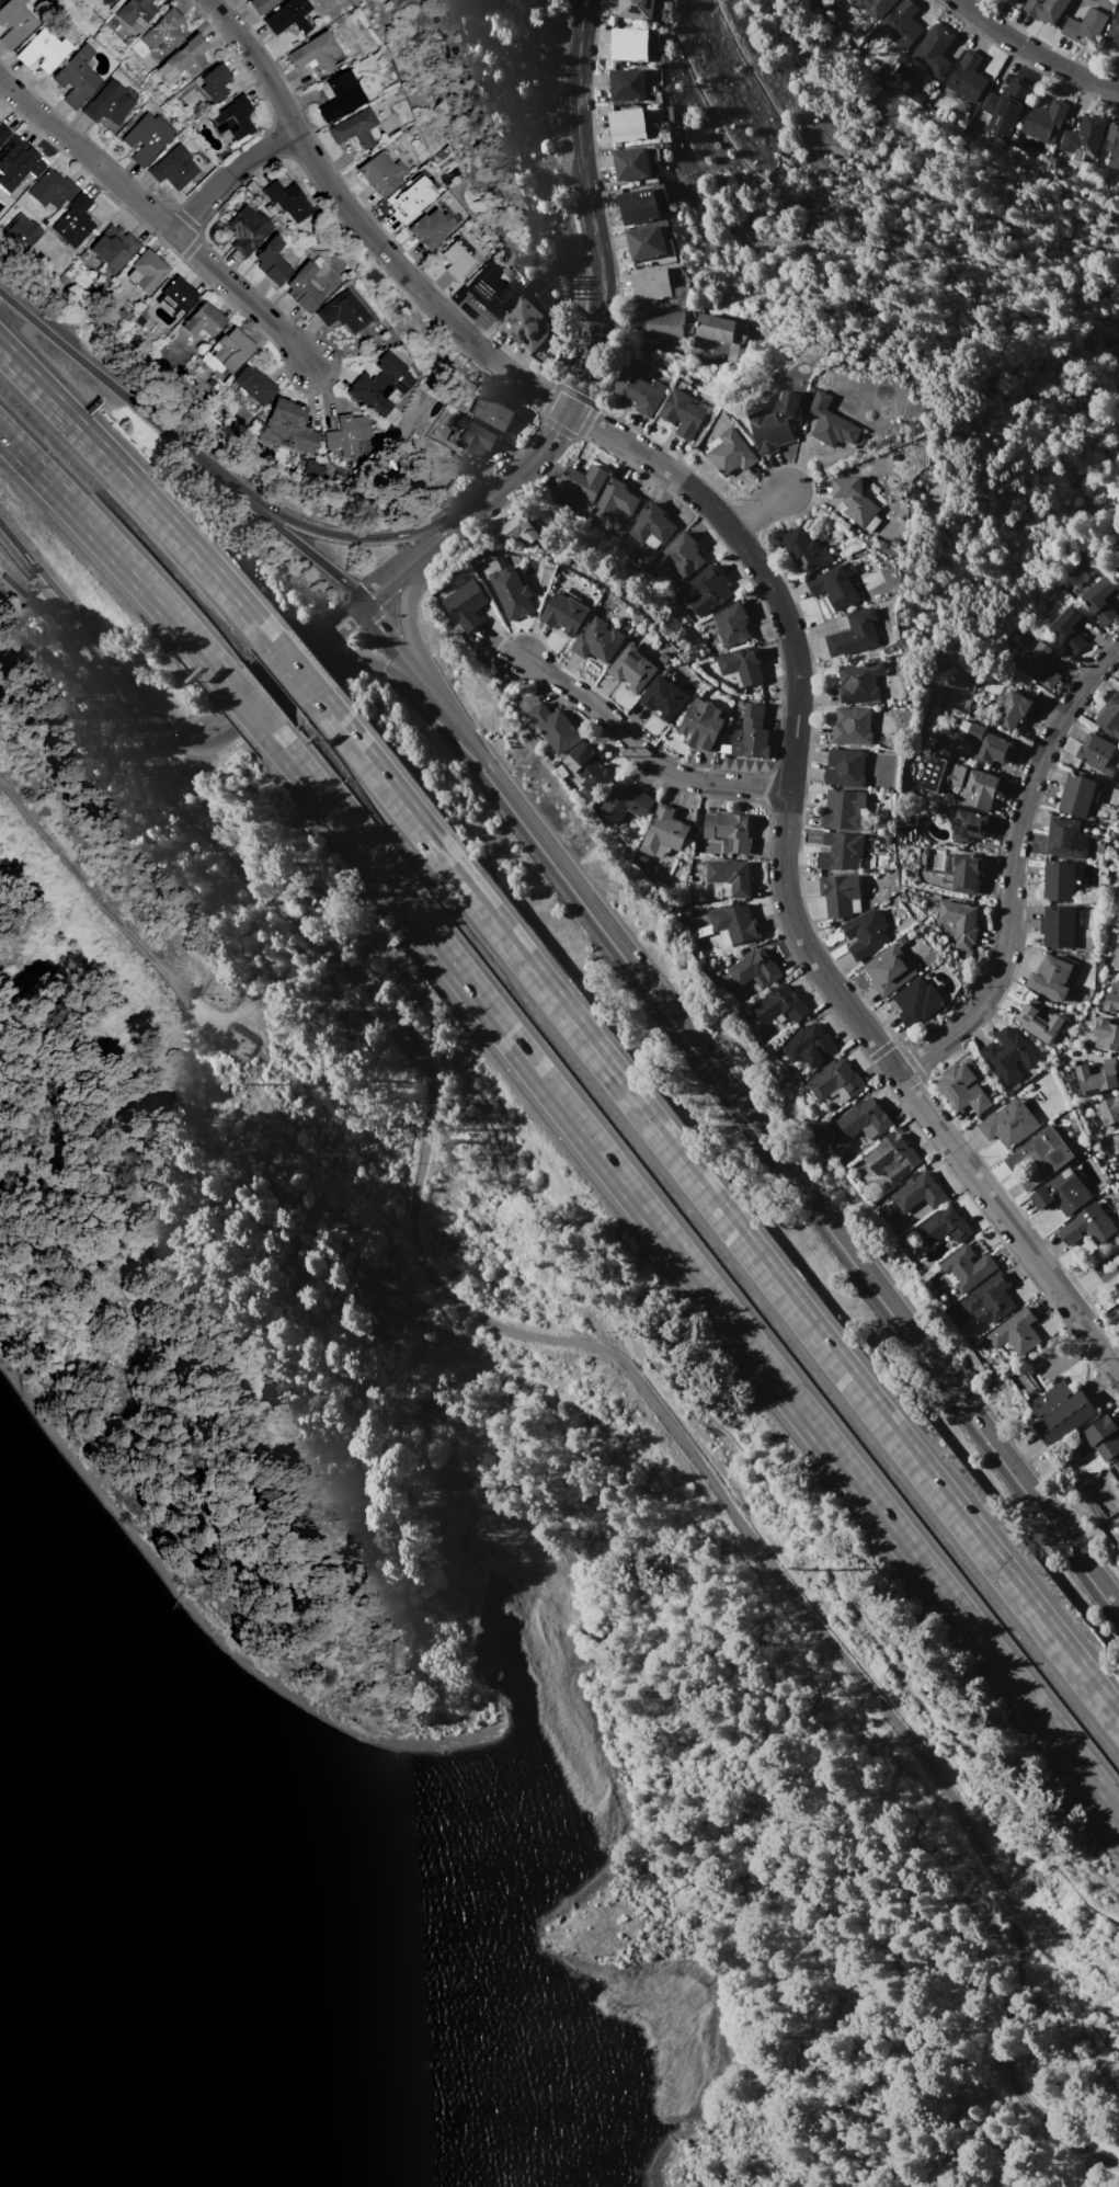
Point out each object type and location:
building: (0, 0)
building: (103, 1)
building: (1013, 2)
building: (261, 4)
building: (873, 9)
building: (639, 10)
building: (1044, 10)
building: (136, 13)
building: (287, 16)
building: (15, 23)
building: (901, 24)
building: (1085, 26)
building: (1115, 29)
building: (164, 32)
building: (633, 43)
building: (42, 52)
building: (933, 52)
road: (1035, 52)
building: (317, 55)
building: (187, 56)
building: (1118, 58)
building: (77, 75)
building: (967, 77)
building: (214, 82)
building: (630, 84)
building: (341, 95)
building: (107, 103)
building: (1005, 107)
building: (232, 118)
building: (1043, 119)
building: (628, 125)
building: (356, 128)
building: (3, 134)
building: (146, 137)
building: (1084, 138)
building: (1114, 145)
building: (18, 162)
building: (636, 162)
building: (173, 168)
building: (379, 173)
road: (235, 178)
building: (52, 191)
building: (287, 197)
building: (406, 204)
building: (640, 206)
road: (162, 214)
building: (75, 221)
building: (246, 229)
building: (429, 229)
building: (20, 231)
building: (647, 242)
building: (114, 248)
building: (271, 260)
building: (455, 262)
building: (146, 271)
road: (598, 272)
building: (651, 283)
building: (302, 288)
building: (489, 293)
building: (175, 296)
building: (343, 311)
building: (203, 321)
building: (527, 323)
building: (660, 324)
building: (723, 333)
road: (648, 345)
building: (230, 351)
building: (254, 385)
building: (379, 385)
building: (638, 392)
building: (683, 412)
building: (491, 413)
building: (777, 422)
building: (833, 422)
building: (293, 425)
building: (346, 434)
building: (471, 436)
road: (182, 444)
building: (731, 452)
building: (583, 479)
road: (137, 491)
building: (617, 498)
building: (856, 502)
road: (757, 509)
road: (456, 520)
building: (651, 527)
building: (518, 528)
road: (350, 535)
building: (803, 550)
road: (114, 554)
building: (684, 555)
road: (398, 570)
building: (1117, 570)
building: (834, 586)
building: (708, 590)
building: (512, 593)
building: (1100, 600)
building: (468, 604)
building: (566, 614)
road: (786, 623)
building: (731, 624)
building: (1069, 629)
road: (330, 633)
building: (855, 634)
road: (92, 636)
building: (598, 641)
road: (416, 643)
building: (1041, 665)
building: (741, 667)
road: (293, 668)
building: (632, 668)
road: (85, 669)
road: (398, 673)
road: (415, 673)
building: (859, 681)
road: (272, 688)
building: (664, 698)
road: (247, 706)
building: (1010, 710)
building: (1110, 717)
road: (212, 718)
building: (701, 725)
building: (852, 726)
building: (557, 727)
building: (752, 733)
road: (218, 736)
road: (190, 740)
building: (989, 744)
building: (1095, 751)
road: (641, 754)
road: (181, 756)
building: (591, 768)
building: (845, 768)
road: (161, 776)
building: (957, 782)
building: (1077, 796)
building: (627, 801)
building: (844, 809)
building: (969, 825)
building: (730, 830)
building: (664, 831)
building: (1066, 839)
building: (842, 851)
road: (1012, 868)
building: (966, 874)
building: (730, 876)
building: (1059, 880)
building: (840, 893)
building: (735, 922)
building: (960, 922)
building: (1058, 926)
building: (866, 934)
building: (1116, 958)
building: (755, 969)
building: (891, 969)
building: (1053, 977)
road: (176, 987)
building: (1112, 998)
building: (917, 1001)
building: (781, 1004)
building: (1040, 1021)
building: (1107, 1034)
building: (810, 1045)
building: (1008, 1055)
building: (1098, 1077)
building: (836, 1080)
power tower: (262, 1084)
building: (963, 1089)
building: (1110, 1113)
building: (864, 1117)
building: (1009, 1124)
building: (834, 1132)
building: (1117, 1140)
building: (892, 1158)
building: (1038, 1158)
road: (795, 1174)
building: (920, 1192)
building: (1063, 1192)
road: (717, 1209)
building: (1089, 1226)
building: (945, 1227)
road: (1100, 1265)
building: (968, 1267)
road: (695, 1275)
road: (1104, 1277)
road: (1075, 1292)
building: (990, 1300)
power tower: (1116, 1311)
building: (1014, 1335)
road: (656, 1344)
road: (592, 1345)
road: (1069, 1357)
building: (1061, 1412)
building: (1104, 1436)
building: (1115, 1470)
building: (1118, 1485)
power tower: (810, 1569)
road: (1094, 2173)

